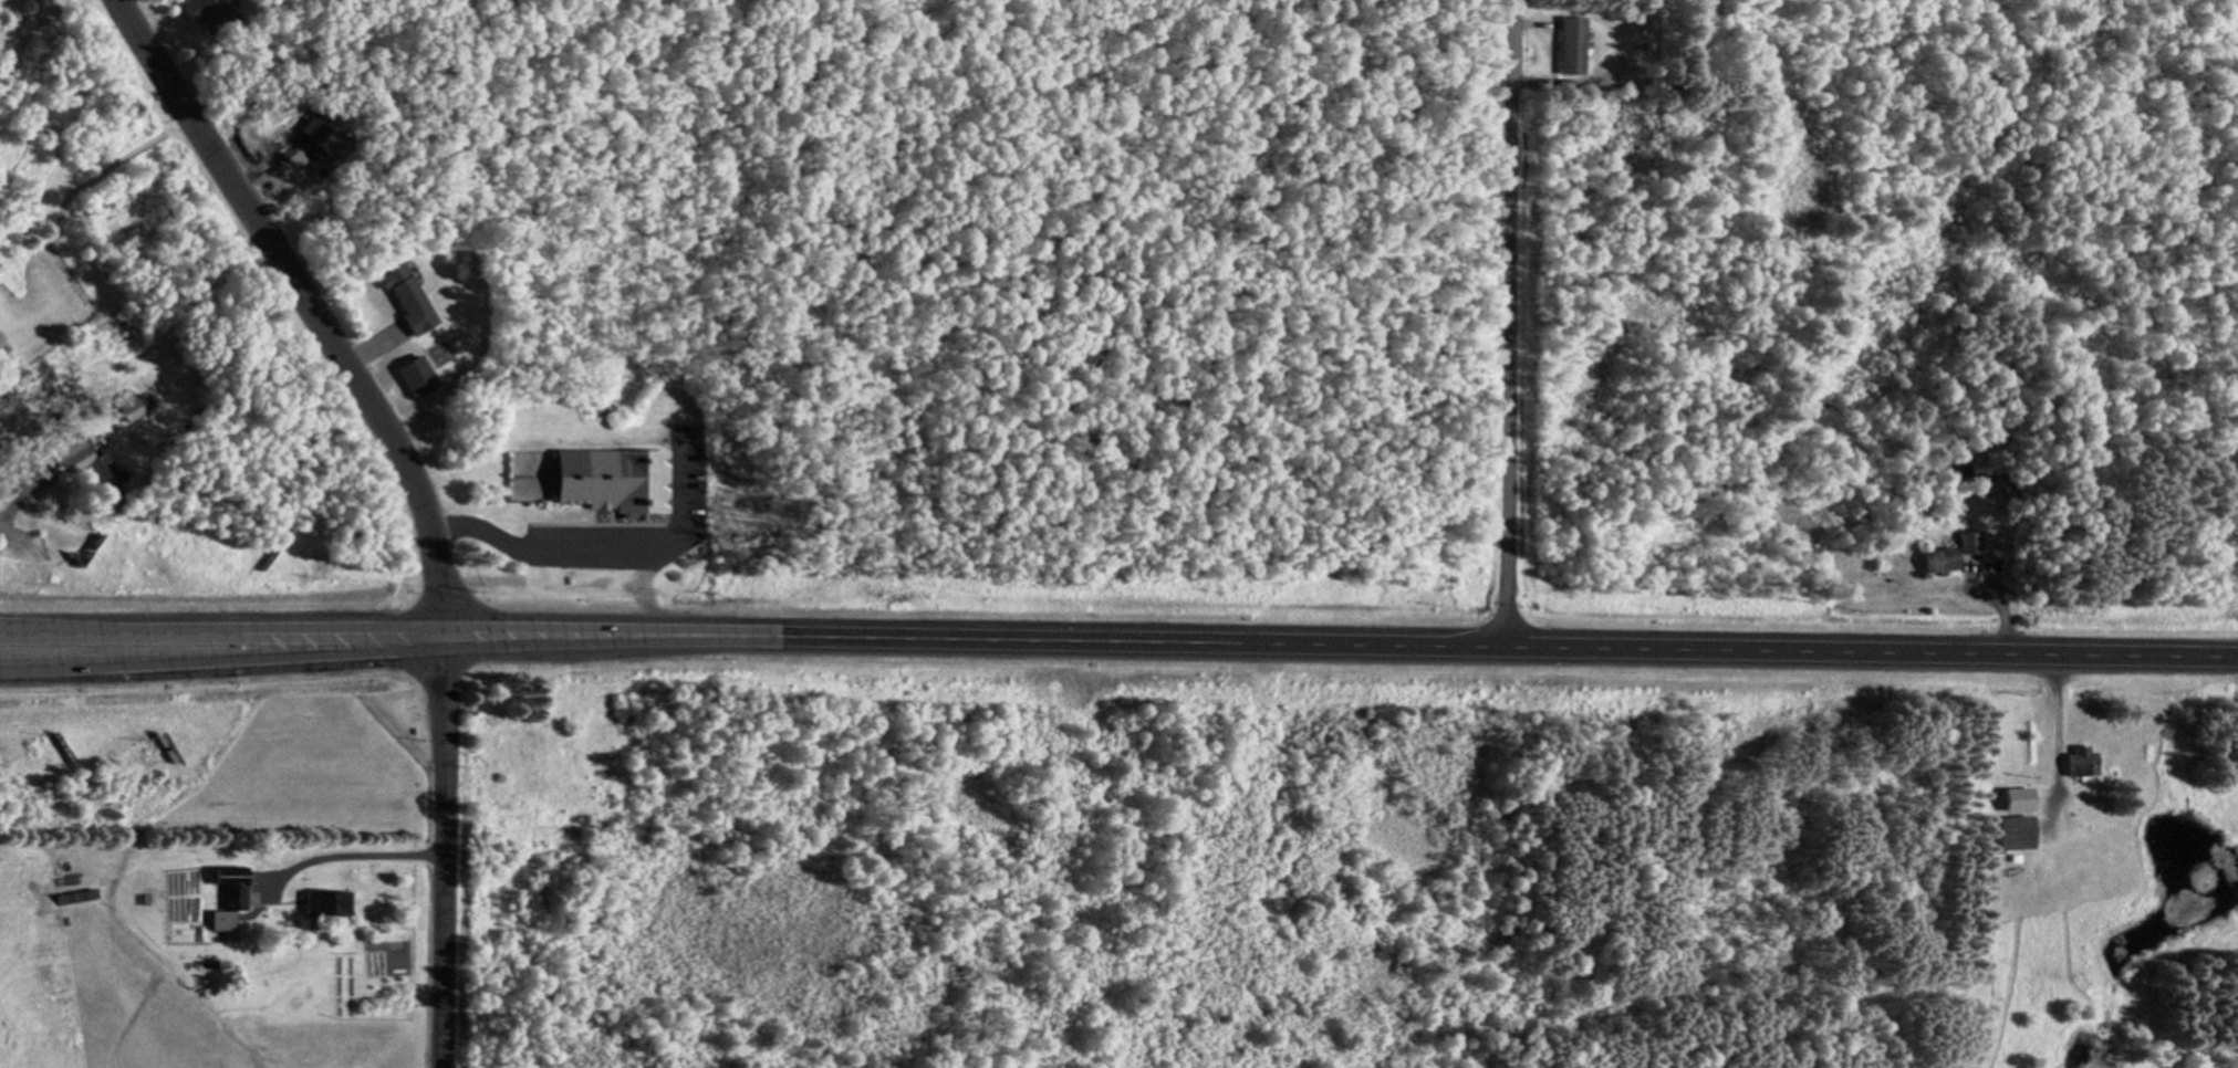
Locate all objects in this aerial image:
building: (208, 11)
building: (1572, 44)
building: (1633, 76)
building: (273, 160)
building: (290, 180)
building: (412, 300)
road: (309, 301)
road: (1509, 322)
building: (129, 408)
building: (74, 458)
building: (1958, 473)
building: (615, 480)
road: (19, 494)
road: (15, 536)
building: (1950, 553)
road: (608, 554)
road: (617, 622)
road: (243, 628)
road: (21, 629)
road: (617, 641)
road: (1513, 646)
road: (221, 660)
building: (2080, 761)
building: (2020, 797)
building: (2015, 831)
road: (441, 845)
building: (231, 884)
building: (327, 901)
building: (222, 919)
crop: (143, 984)

